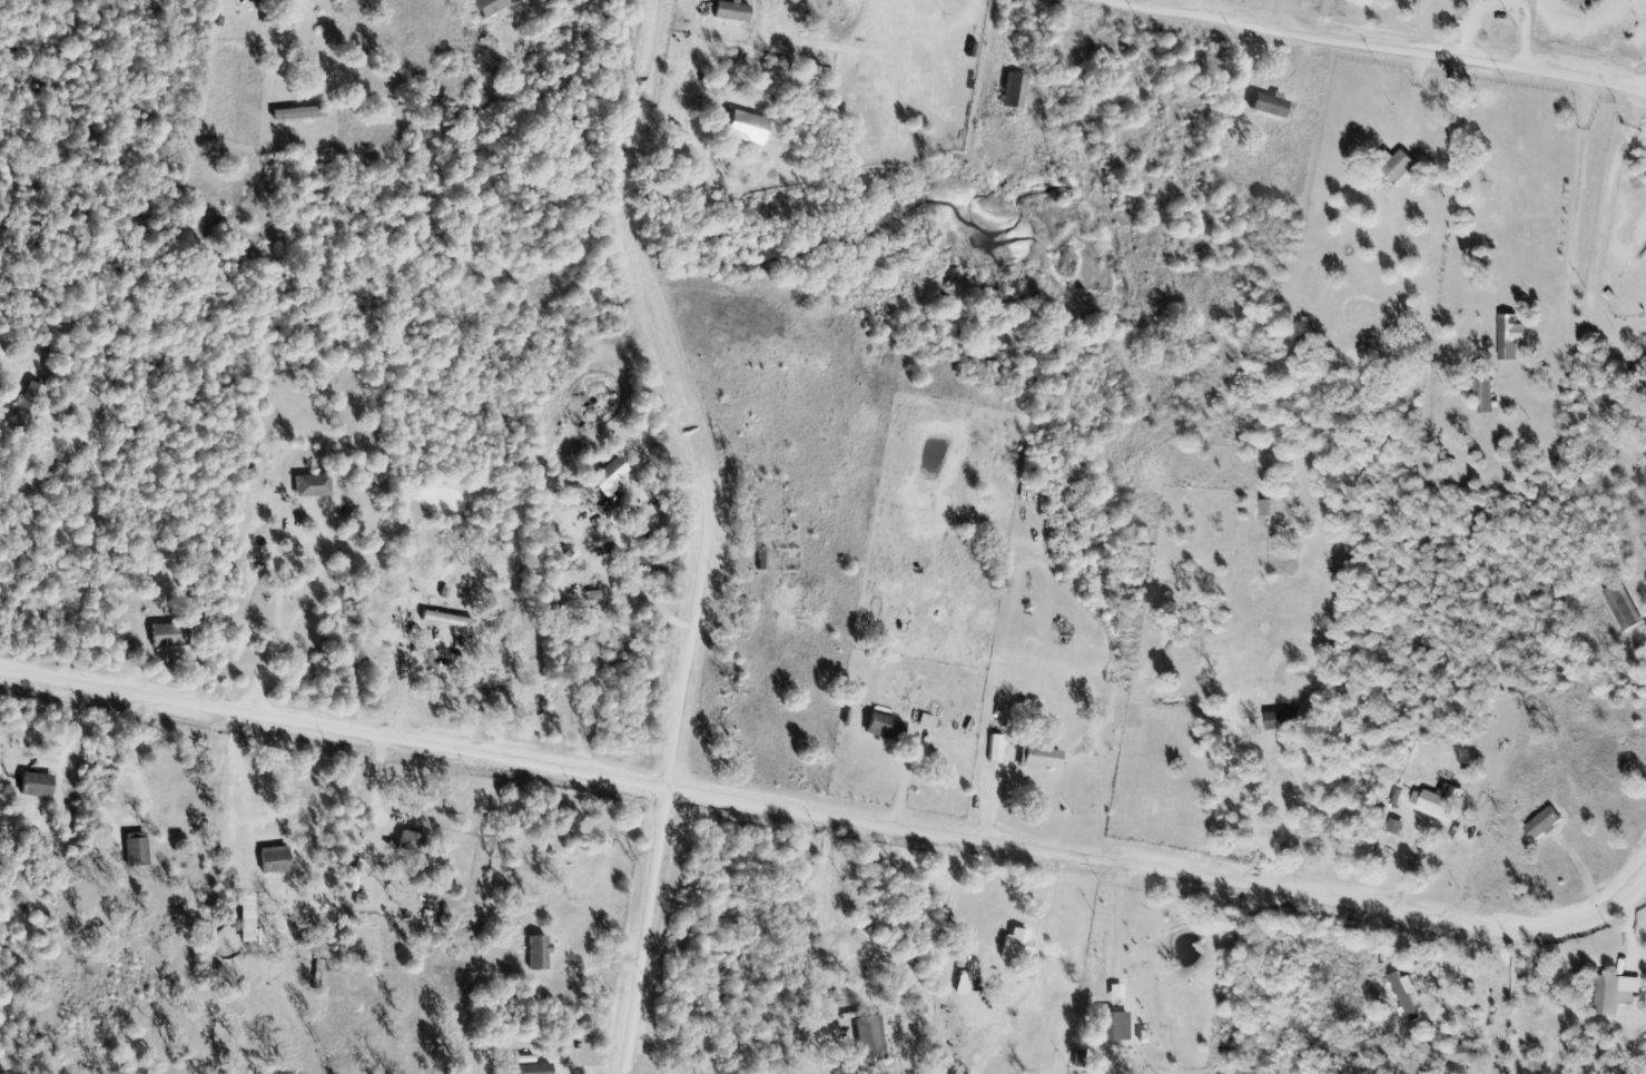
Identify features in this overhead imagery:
building: (1468, 0)
building: (489, 6)
building: (730, 11)
building: (231, 26)
road: (1379, 47)
building: (1013, 91)
building: (1268, 105)
building: (297, 114)
building: (1399, 167)
building: (1509, 337)
building: (56, 355)
building: (1639, 373)
building: (1487, 396)
building: (24, 414)
building: (316, 434)
building: (608, 476)
building: (311, 486)
building: (1265, 509)
building: (775, 512)
road: (707, 533)
building: (758, 560)
building: (1620, 607)
building: (440, 615)
building: (168, 635)
building: (590, 648)
building: (1282, 720)
building: (884, 728)
building: (995, 748)
building: (1038, 758)
building: (36, 786)
building: (1439, 802)
road: (827, 812)
building: (1541, 825)
building: (413, 844)
building: (135, 849)
building: (1016, 945)
building: (538, 953)
building: (1607, 996)
building: (1106, 1024)
building: (868, 1036)
building: (1461, 1054)
building: (532, 1068)
building: (686, 1073)

